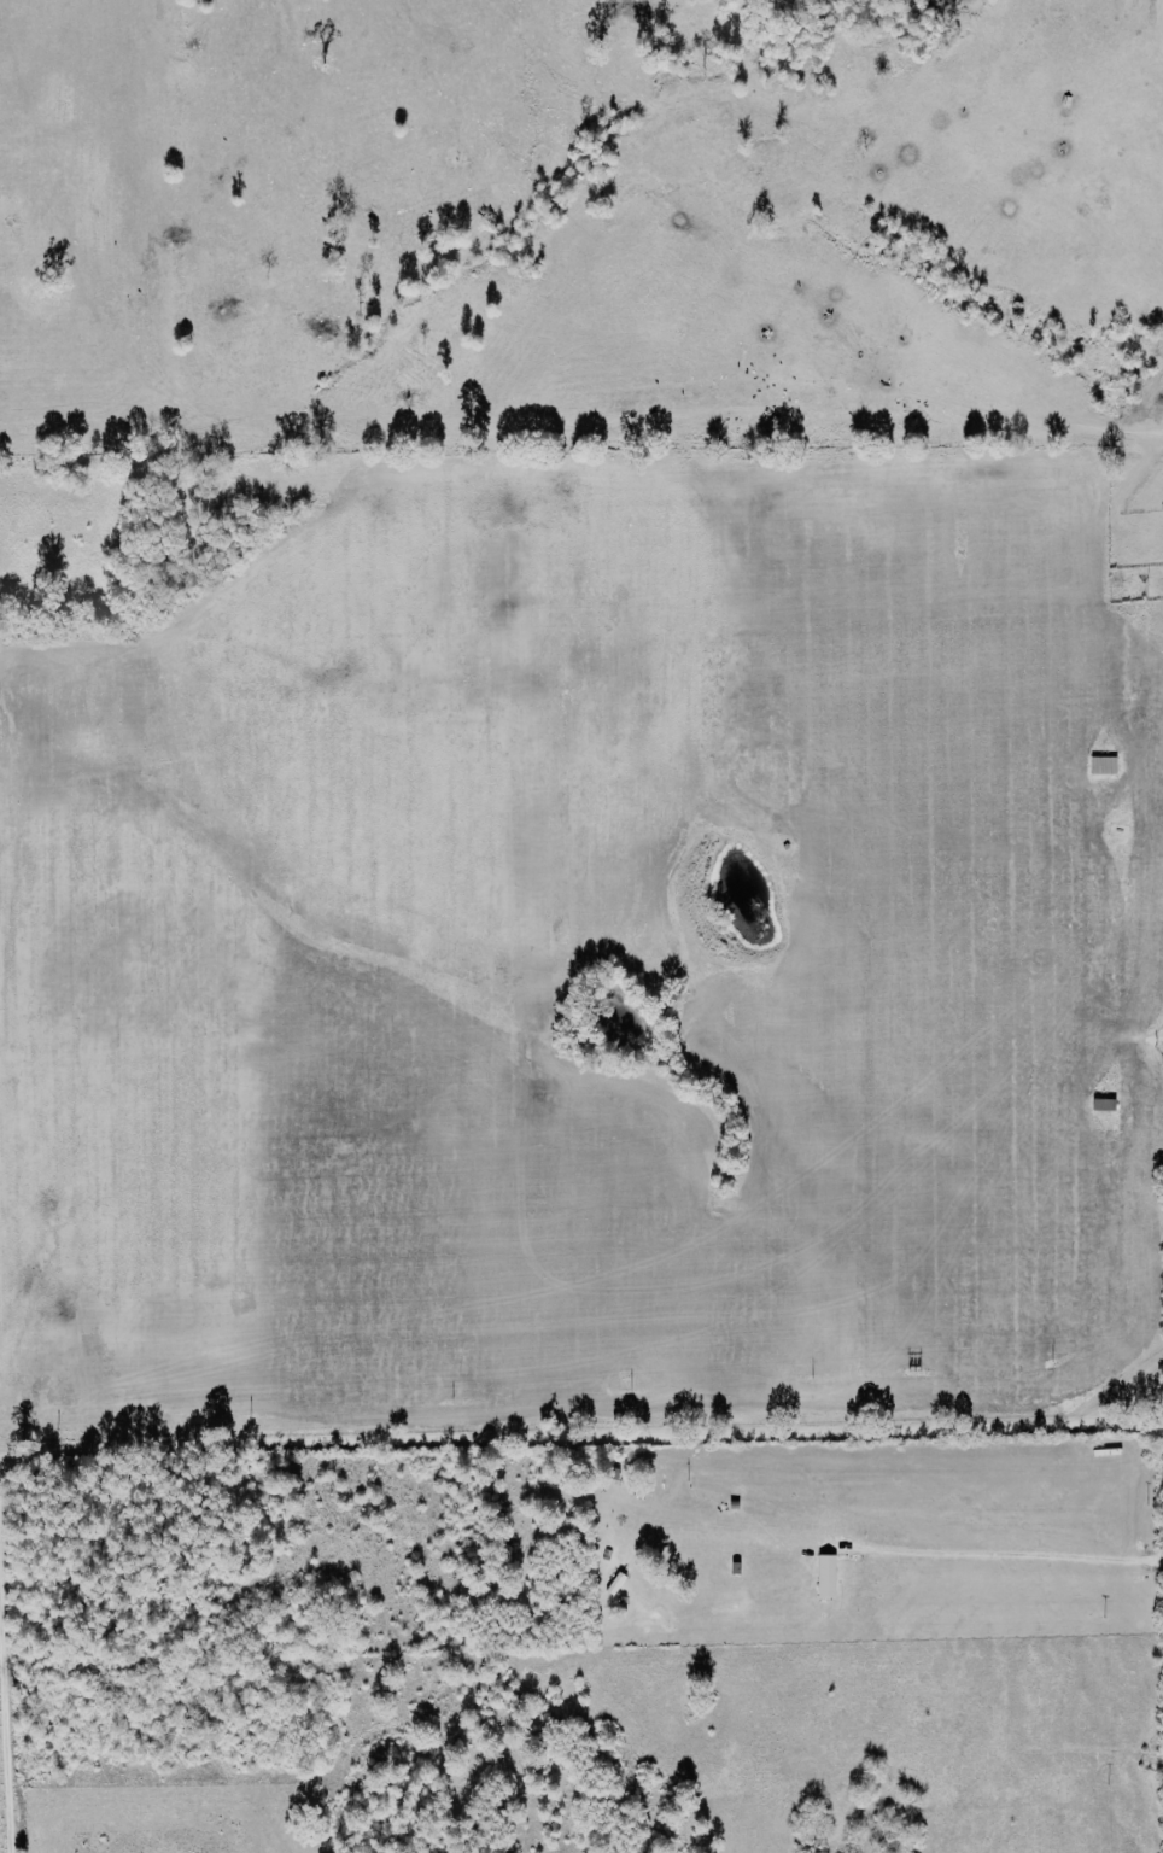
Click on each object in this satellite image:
building: (829, 1576)

